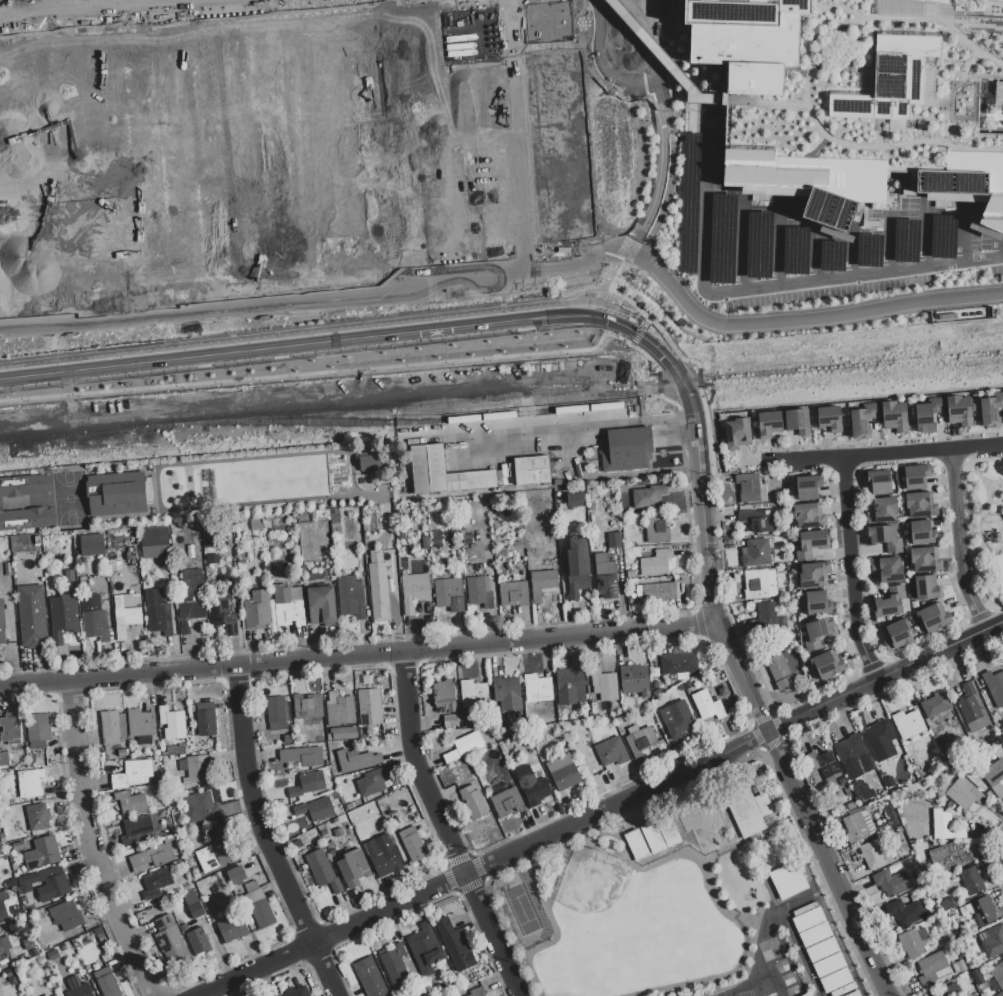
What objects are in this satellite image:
park: (9, 4)
park: (42, 4)
road: (837, 5)
solar farm: (742, 9)
road: (168, 11)
road: (324, 14)
road: (973, 24)
park: (157, 25)
road: (623, 28)
road: (25, 30)
park: (6, 34)
road: (24, 34)
road: (652, 40)
road: (582, 43)
park: (427, 45)
building: (409, 54)
road: (664, 58)
road: (965, 65)
road: (559, 69)
park: (33, 71)
park: (0, 74)
road: (593, 78)
road: (267, 79)
road: (806, 79)
road: (972, 83)
park: (882, 85)
road: (167, 87)
building: (859, 98)
street lamp: (679, 99)
road: (758, 102)
street lamp: (673, 109)
road: (584, 121)
road: (945, 129)
street lamp: (676, 133)
road: (877, 142)
road: (291, 144)
building: (562, 146)
park: (350, 148)
street lamp: (677, 153)
road: (640, 156)
building: (187, 159)
park: (531, 165)
road: (663, 172)
street lamp: (675, 177)
road: (453, 182)
road: (410, 194)
road: (310, 196)
road: (592, 200)
street lamp: (669, 202)
park: (671, 202)
street lamp: (662, 221)
park: (317, 233)
road: (924, 235)
parking lot: (816, 237)
road: (739, 241)
road: (777, 241)
street lamp: (653, 242)
road: (886, 244)
street lamp: (971, 251)
road: (813, 255)
road: (292, 258)
road: (848, 260)
street lamp: (632, 274)
street lamp: (943, 274)
road: (612, 279)
road: (775, 285)
road: (671, 287)
road: (607, 290)
street lamp: (897, 290)
road: (581, 291)
street lamp: (856, 296)
road: (322, 297)
building: (83, 301)
street lamp: (808, 302)
road: (850, 310)
street lamp: (892, 318)
street lamp: (686, 322)
road: (344, 327)
street lamp: (785, 333)
street lamp: (523, 334)
road: (637, 335)
road: (332, 341)
railway: (983, 361)
park: (337, 362)
street lamp: (653, 363)
road: (670, 363)
railway: (818, 367)
road: (659, 395)
street lamp: (705, 397)
railway: (418, 402)
building: (959, 410)
building: (991, 410)
building: (893, 415)
building: (927, 415)
building: (829, 418)
building: (863, 420)
railway: (415, 421)
building: (797, 421)
building: (768, 424)
road: (556, 427)
railway: (101, 429)
building: (738, 433)
street lamp: (979, 436)
road: (874, 440)
street lamp: (913, 441)
street lamp: (849, 446)
road: (978, 447)
building: (627, 449)
street lamp: (784, 449)
parking lot: (989, 452)
road: (886, 455)
road: (968, 455)
road: (790, 460)
road: (986, 461)
building: (368, 462)
building: (531, 470)
building: (442, 472)
street lamp: (969, 473)
road: (610, 475)
building: (916, 476)
street lamp: (998, 478)
building: (877, 482)
road: (996, 483)
building: (23, 484)
building: (747, 487)
building: (808, 487)
street lamp: (944, 487)
street lamp: (999, 492)
building: (115, 493)
building: (648, 496)
street lamp: (850, 496)
park: (68, 497)
building: (573, 498)
building: (920, 504)
building: (883, 509)
road: (995, 510)
building: (808, 515)
road: (959, 516)
building: (26, 518)
building: (758, 520)
building: (256, 523)
building: (656, 527)
park: (986, 528)
building: (922, 532)
street lamp: (975, 535)
building: (887, 536)
building: (211, 538)
building: (612, 538)
road: (982, 538)
building: (154, 542)
building: (273, 542)
building: (810, 543)
building: (92, 544)
street lamp: (967, 545)
building: (755, 552)
building: (925, 558)
street lamp: (858, 559)
road: (708, 561)
building: (655, 562)
building: (275, 566)
building: (577, 568)
building: (889, 569)
road: (854, 571)
building: (813, 574)
building: (69, 575)
building: (605, 576)
street lamp: (972, 580)
building: (377, 583)
building: (542, 583)
building: (759, 583)
building: (927, 587)
building: (413, 590)
building: (514, 590)
building: (656, 591)
building: (480, 592)
building: (449, 594)
building: (350, 596)
building: (190, 597)
road: (972, 597)
street lamp: (991, 597)
building: (817, 603)
building: (890, 603)
building: (288, 604)
building: (321, 604)
building: (257, 610)
building: (157, 611)
building: (126, 612)
building: (62, 614)
building: (31, 616)
building: (223, 616)
road: (978, 616)
building: (933, 617)
road: (998, 619)
building: (769, 620)
road: (984, 622)
road: (699, 623)
building: (2, 624)
road: (710, 626)
building: (100, 628)
street lamp: (864, 629)
street lamp: (958, 629)
building: (818, 632)
road: (945, 632)
building: (897, 633)
road: (739, 634)
street lamp: (921, 646)
road: (349, 653)
street lamp: (944, 661)
road: (108, 663)
building: (679, 663)
road: (402, 664)
building: (827, 664)
road: (870, 666)
road: (310, 670)
building: (779, 673)
building: (634, 679)
road: (886, 679)
street lamp: (904, 680)
building: (603, 684)
building: (994, 686)
building: (537, 687)
building: (570, 687)
building: (507, 692)
building: (473, 693)
building: (444, 695)
street lamp: (804, 701)
building: (935, 704)
building: (706, 705)
building: (369, 706)
street lamp: (847, 706)
building: (307, 708)
building: (339, 709)
building: (972, 709)
building: (278, 712)
street lamp: (749, 716)
building: (679, 718)
building: (206, 719)
building: (172, 722)
building: (443, 722)
building: (907, 723)
building: (141, 725)
building: (112, 727)
building: (38, 728)
building: (11, 729)
building: (1001, 730)
building: (342, 733)
building: (879, 733)
building: (640, 743)
building: (465, 746)
road: (761, 747)
building: (552, 748)
road: (786, 749)
building: (610, 750)
building: (301, 756)
building: (853, 756)
building: (4, 757)
building: (356, 759)
building: (824, 764)
road: (420, 766)
building: (195, 769)
building: (132, 773)
building: (994, 776)
building: (566, 779)
building: (371, 782)
road: (683, 782)
road: (630, 783)
building: (27, 784)
building: (307, 784)
building: (532, 785)
building: (963, 793)
building: (130, 802)
building: (474, 802)
building: (507, 802)
road: (619, 806)
building: (199, 808)
building: (316, 808)
building: (748, 811)
building: (888, 814)
building: (37, 816)
building: (394, 821)
building: (946, 825)
building: (855, 827)
building: (135, 828)
building: (666, 829)
building: (338, 832)
road: (266, 836)
building: (651, 837)
road: (91, 842)
building: (412, 843)
building: (296, 844)
building: (635, 844)
building: (2, 849)
road: (994, 849)
building: (213, 851)
building: (42, 852)
building: (874, 852)
building: (383, 856)
building: (948, 857)
building: (150, 858)
road: (827, 865)
building: (353, 867)
building: (321, 870)
building: (235, 874)
road: (484, 879)
building: (788, 880)
building: (971, 880)
building: (891, 882)
building: (155, 883)
building: (43, 885)
building: (946, 903)
building: (193, 904)
building: (258, 905)
building: (2, 910)
building: (979, 910)
building: (905, 911)
park: (521, 912)
building: (65, 915)
building: (231, 927)
park: (629, 927)
road: (476, 931)
road: (494, 935)
road: (335, 936)
building: (195, 937)
building: (170, 941)
building: (913, 941)
building: (993, 941)
building: (29, 944)
building: (454, 944)
building: (4, 947)
building: (425, 949)
building: (822, 950)
building: (394, 963)
building: (958, 966)
building: (931, 968)
building: (996, 976)
building: (369, 977)
building: (976, 977)
building: (104, 980)
building: (76, 987)
building: (297, 991)
building: (948, 991)
building: (476, 992)
building: (853, 993)
building: (45, 995)
building: (53, 995)

